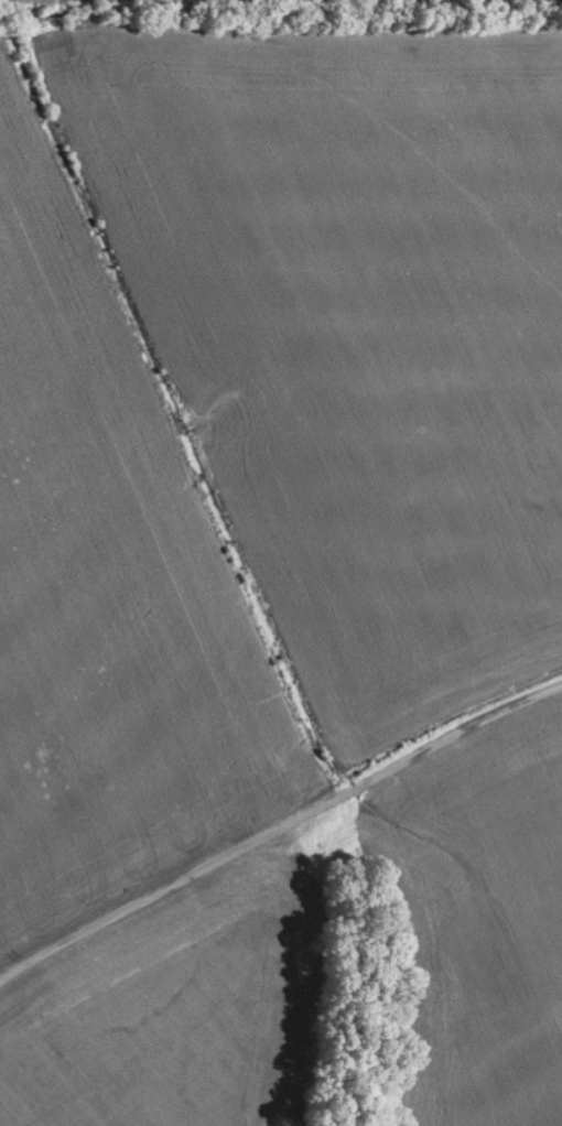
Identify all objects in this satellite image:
road: (279, 827)

